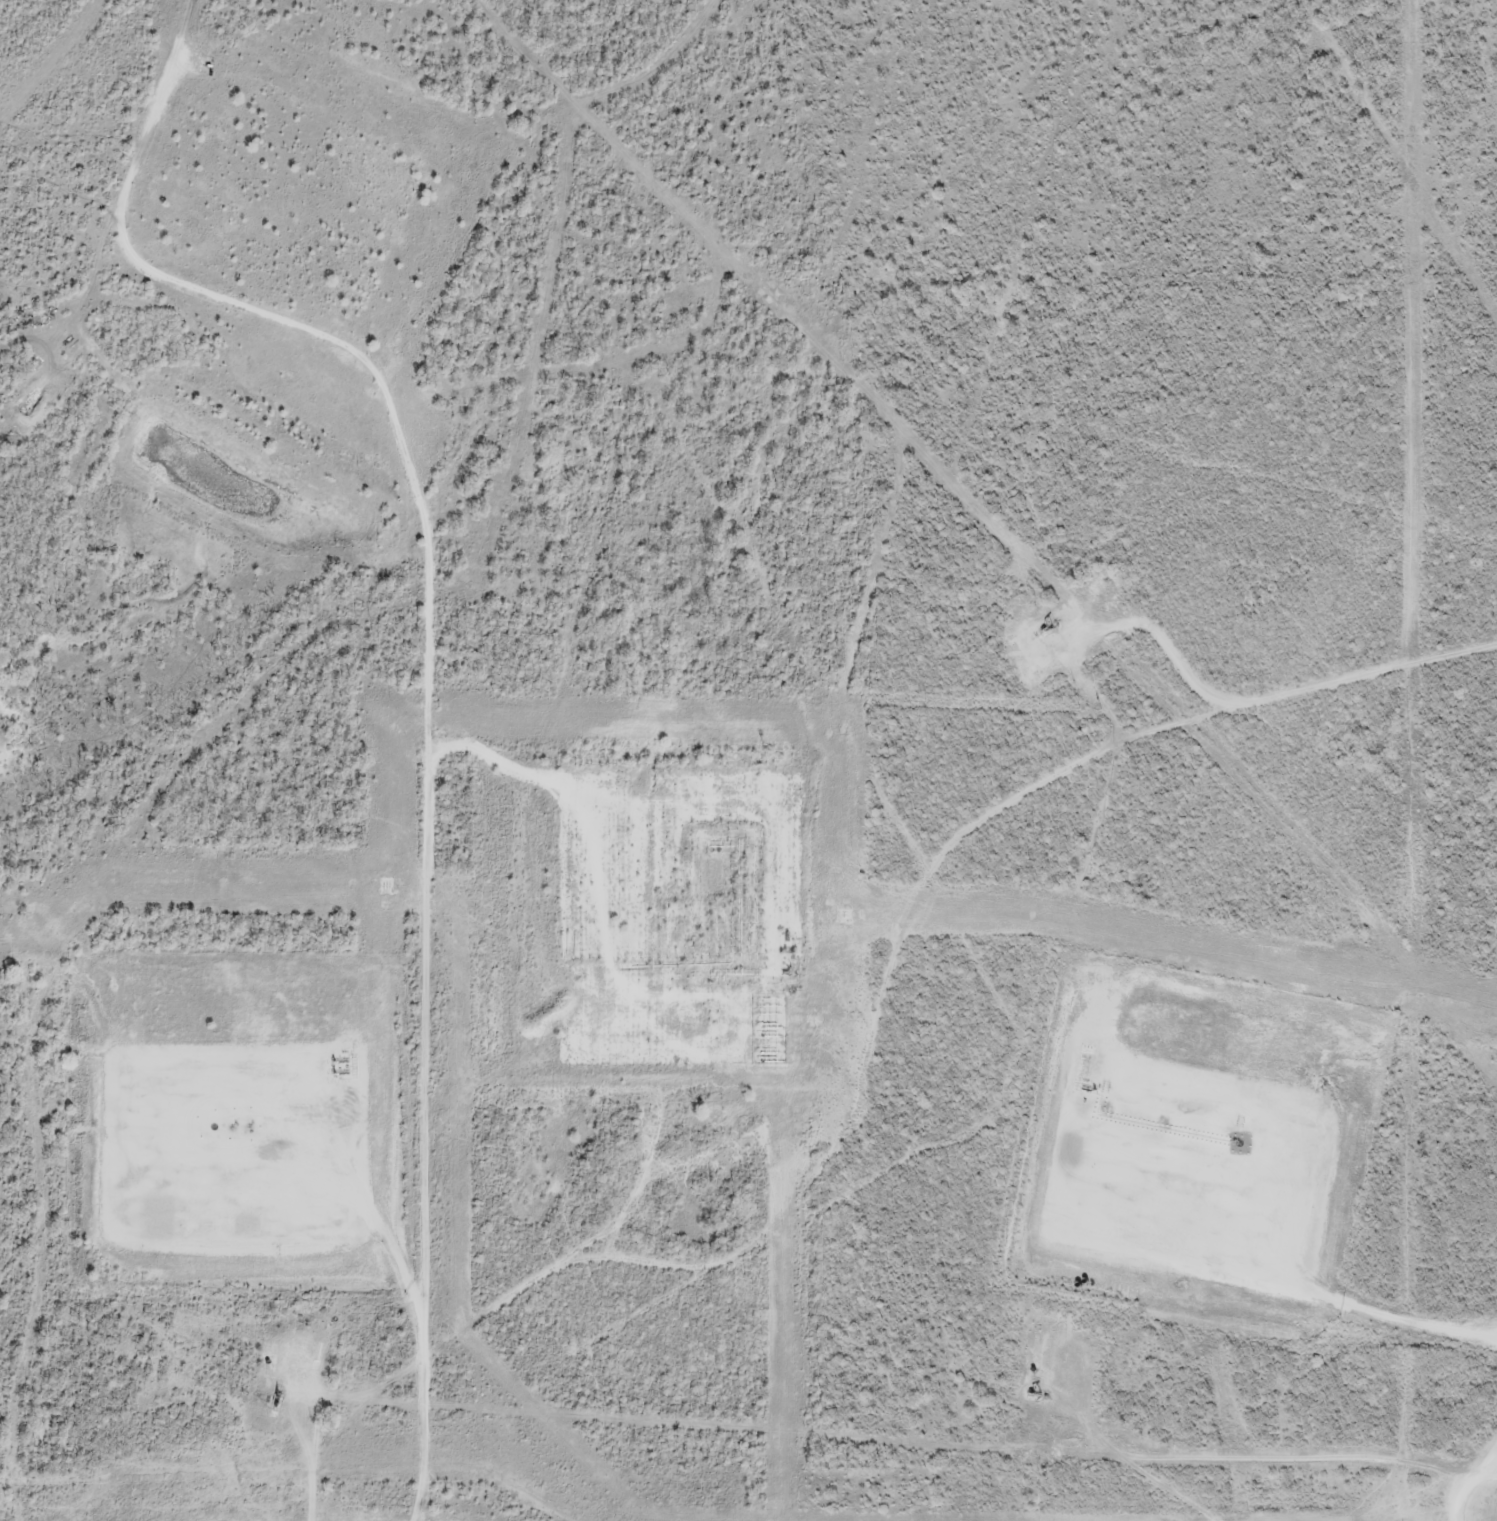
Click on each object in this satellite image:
building: (176, 13)

